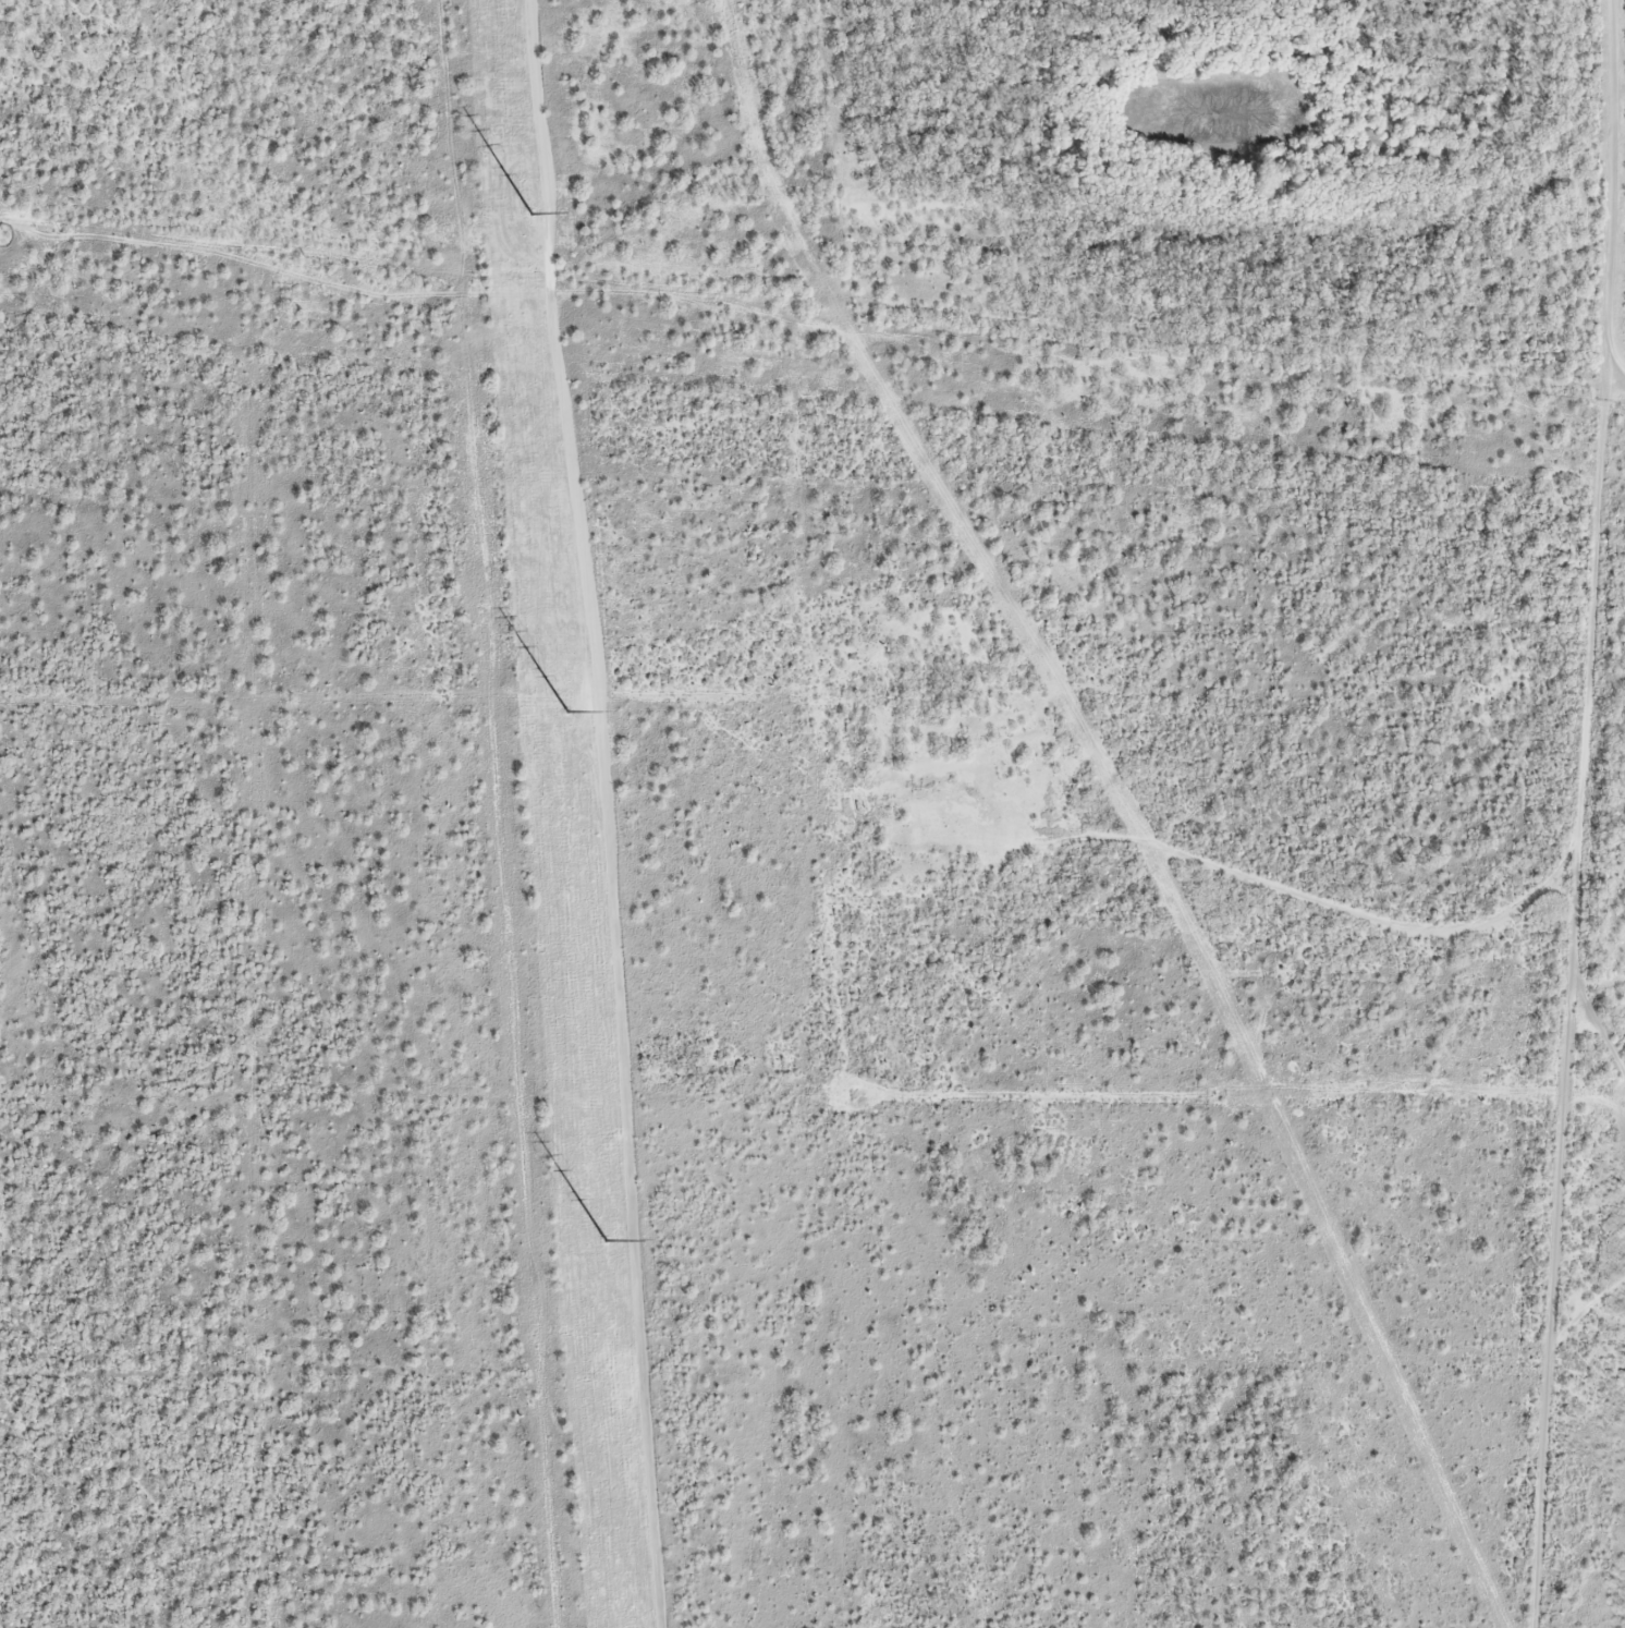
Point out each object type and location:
power tower: (530, 214)
power tower: (453, 238)
road: (812, 302)
power tower: (484, 612)
power tower: (566, 712)
road: (1562, 814)
power tower: (506, 958)
power tower: (606, 1241)
power tower: (534, 1334)

